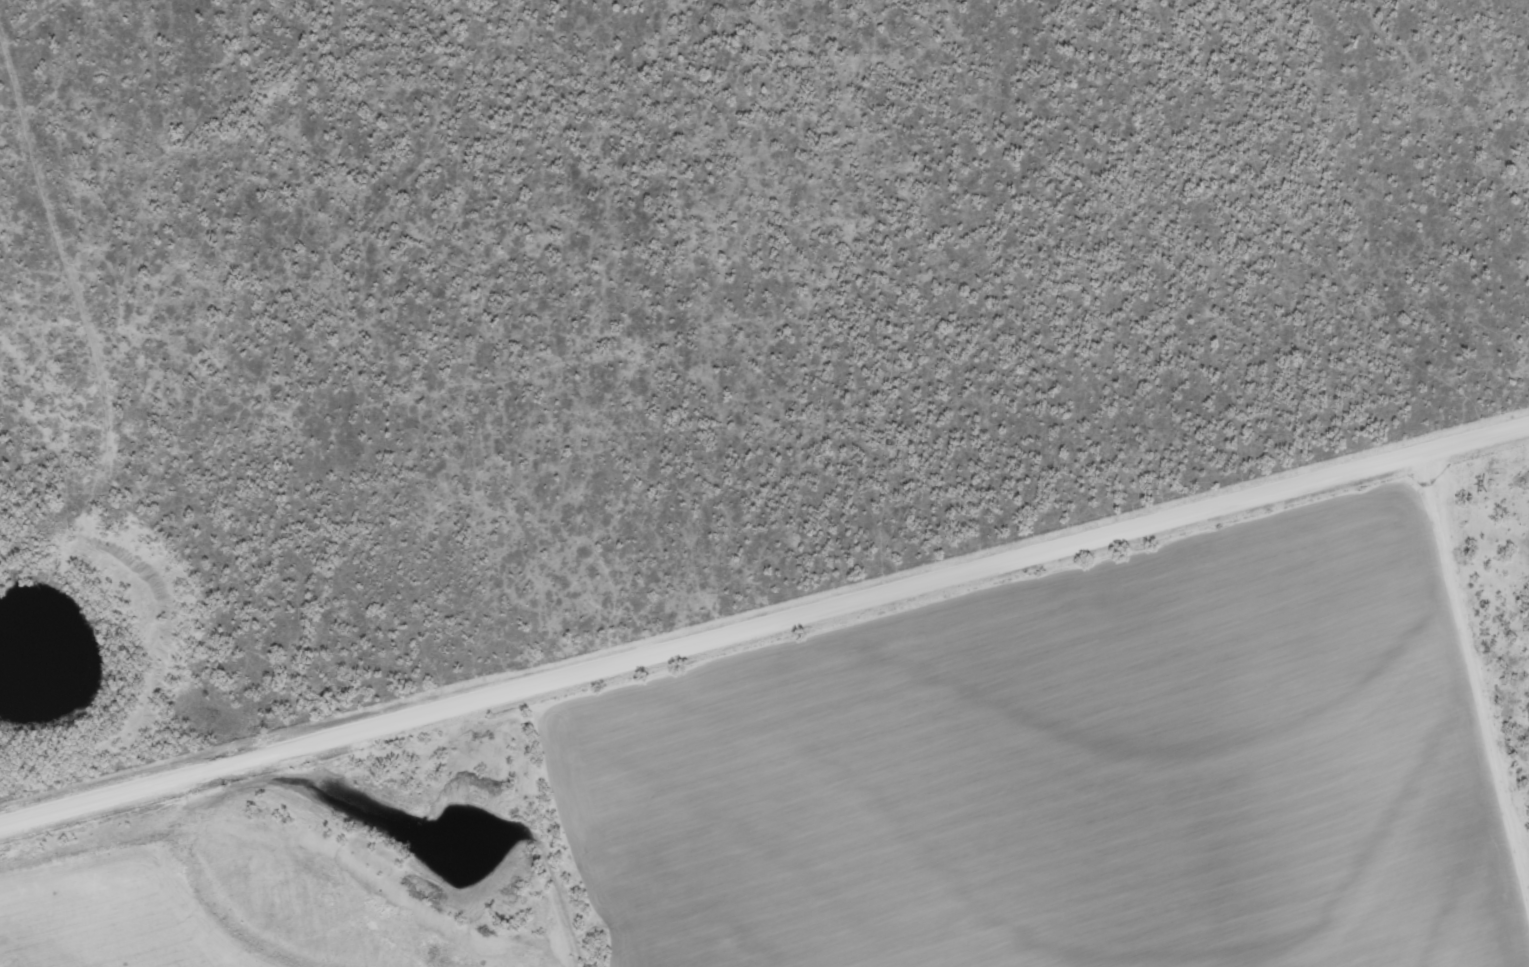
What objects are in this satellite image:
road: (858, 343)
road: (1475, 474)
road: (710, 675)
road: (1475, 727)

